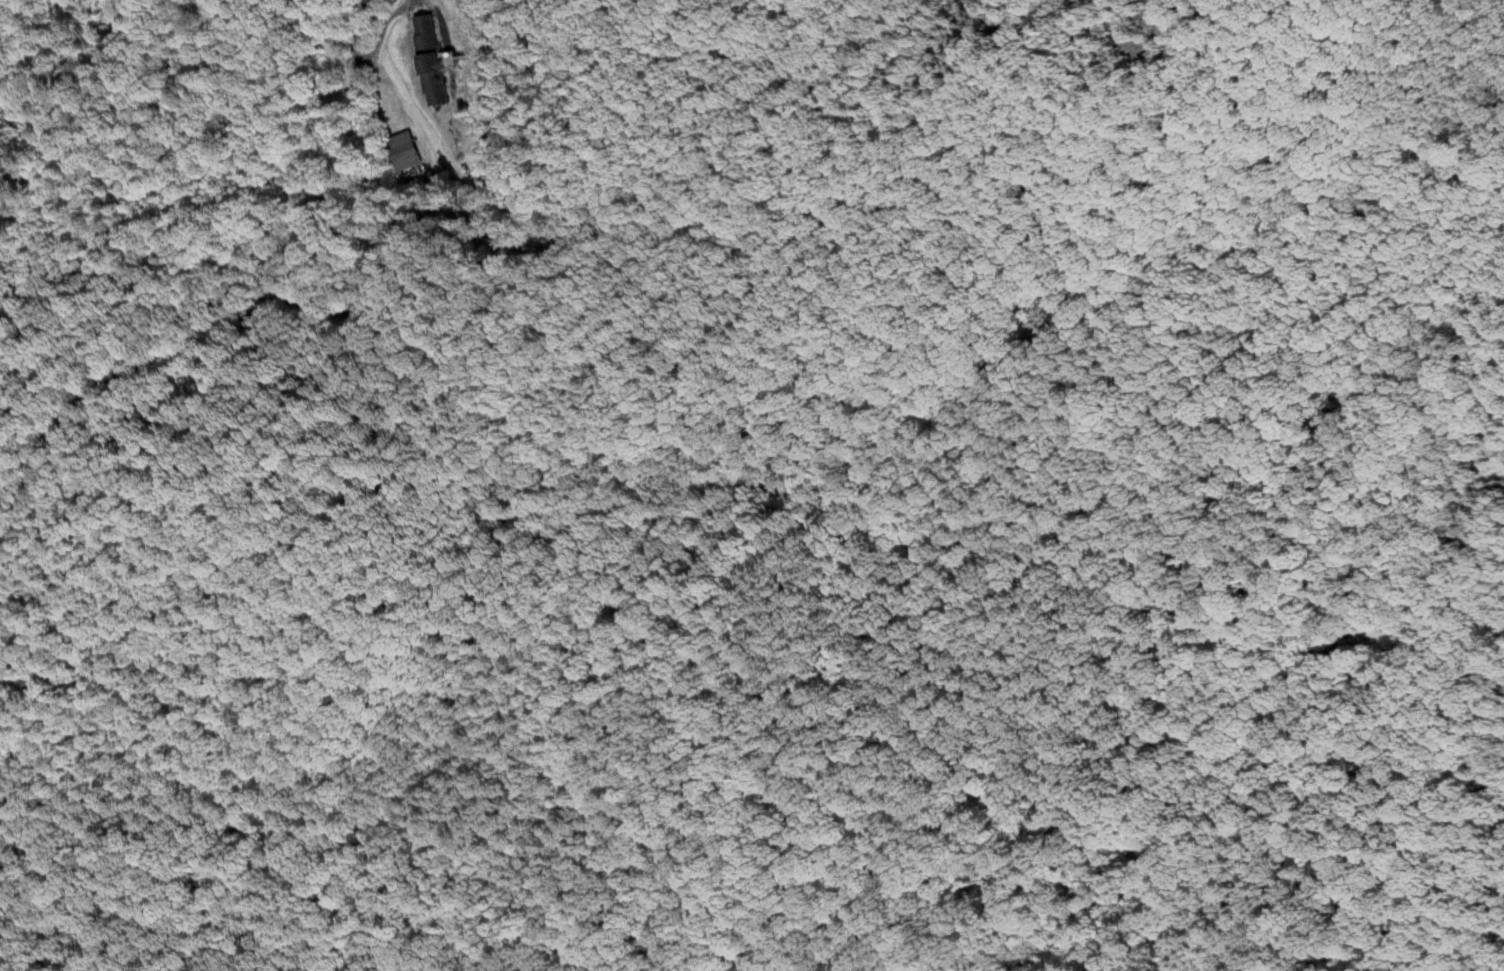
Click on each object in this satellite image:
road: (386, 26)
building: (432, 63)
road: (476, 125)
building: (402, 153)
road: (426, 156)
road: (276, 305)

